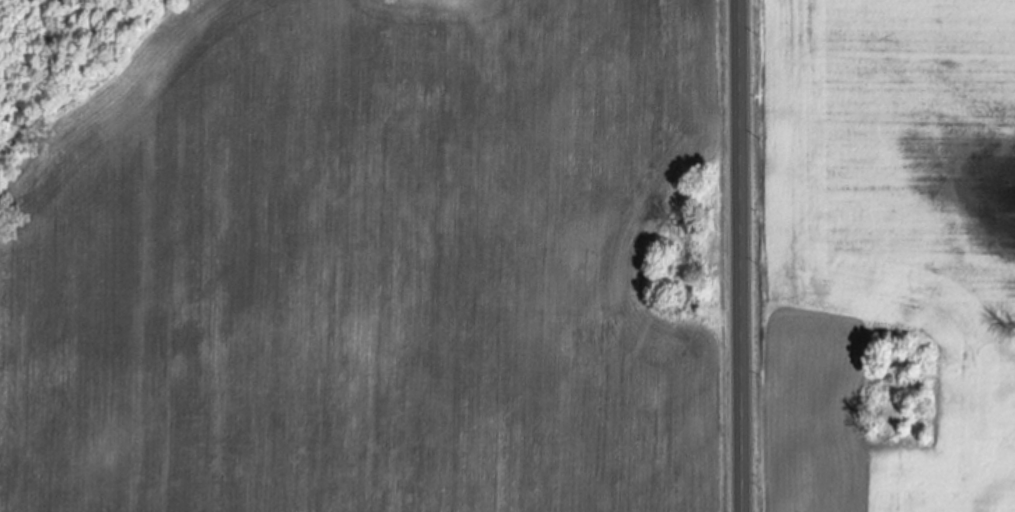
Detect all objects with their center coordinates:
road: (737, 256)

